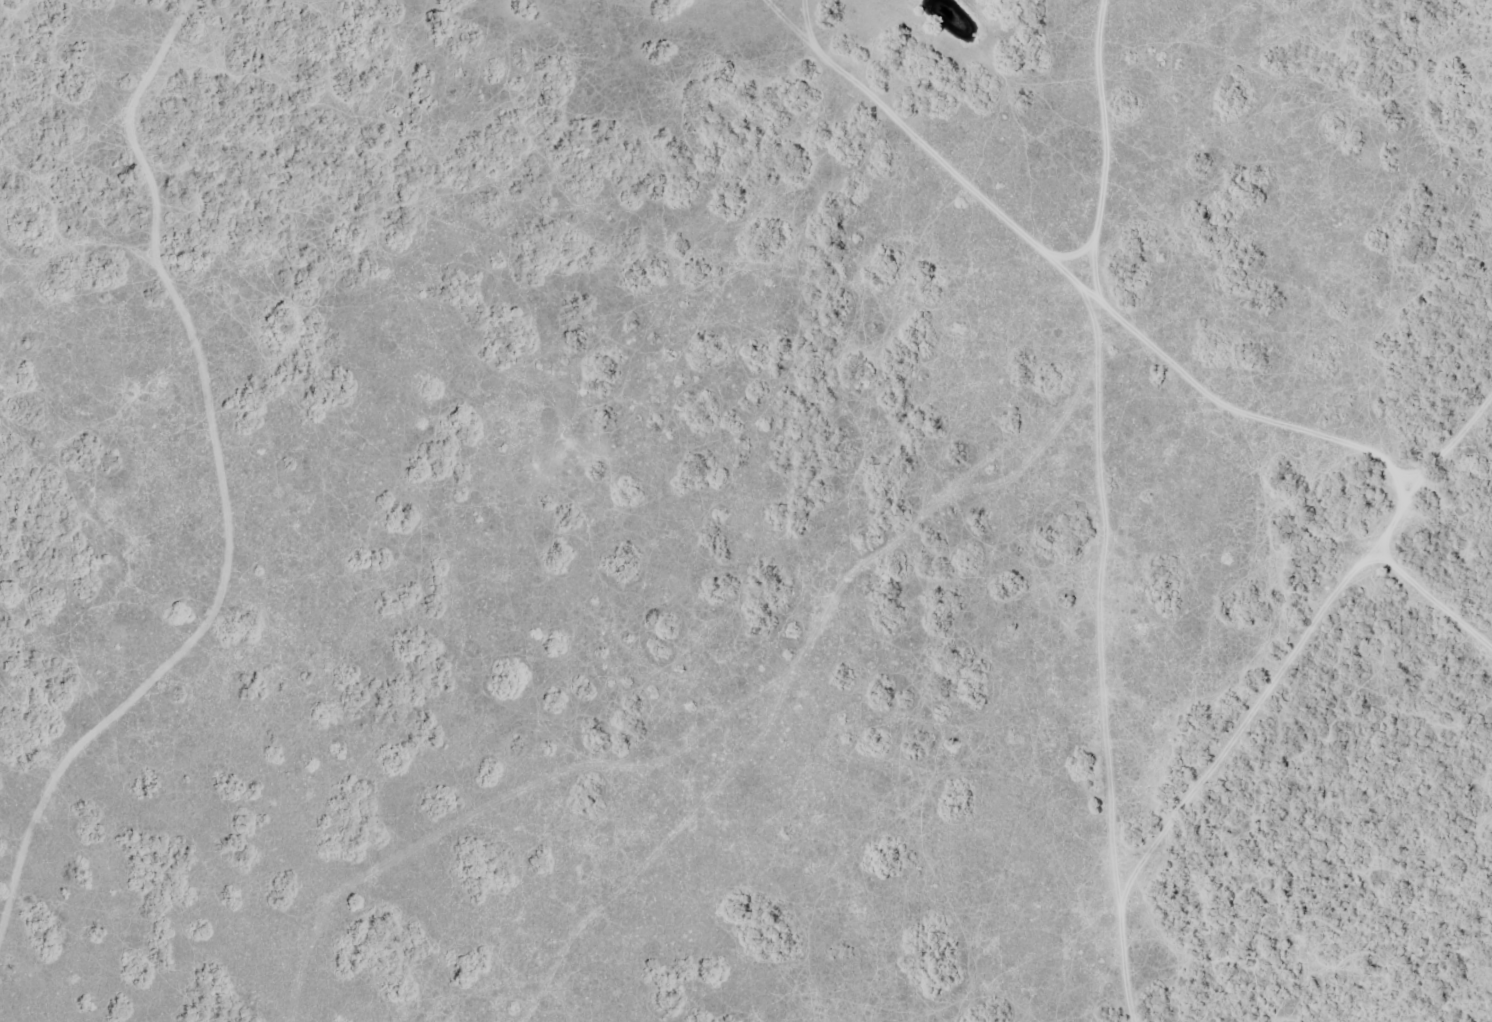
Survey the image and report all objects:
road: (1124, 514)

